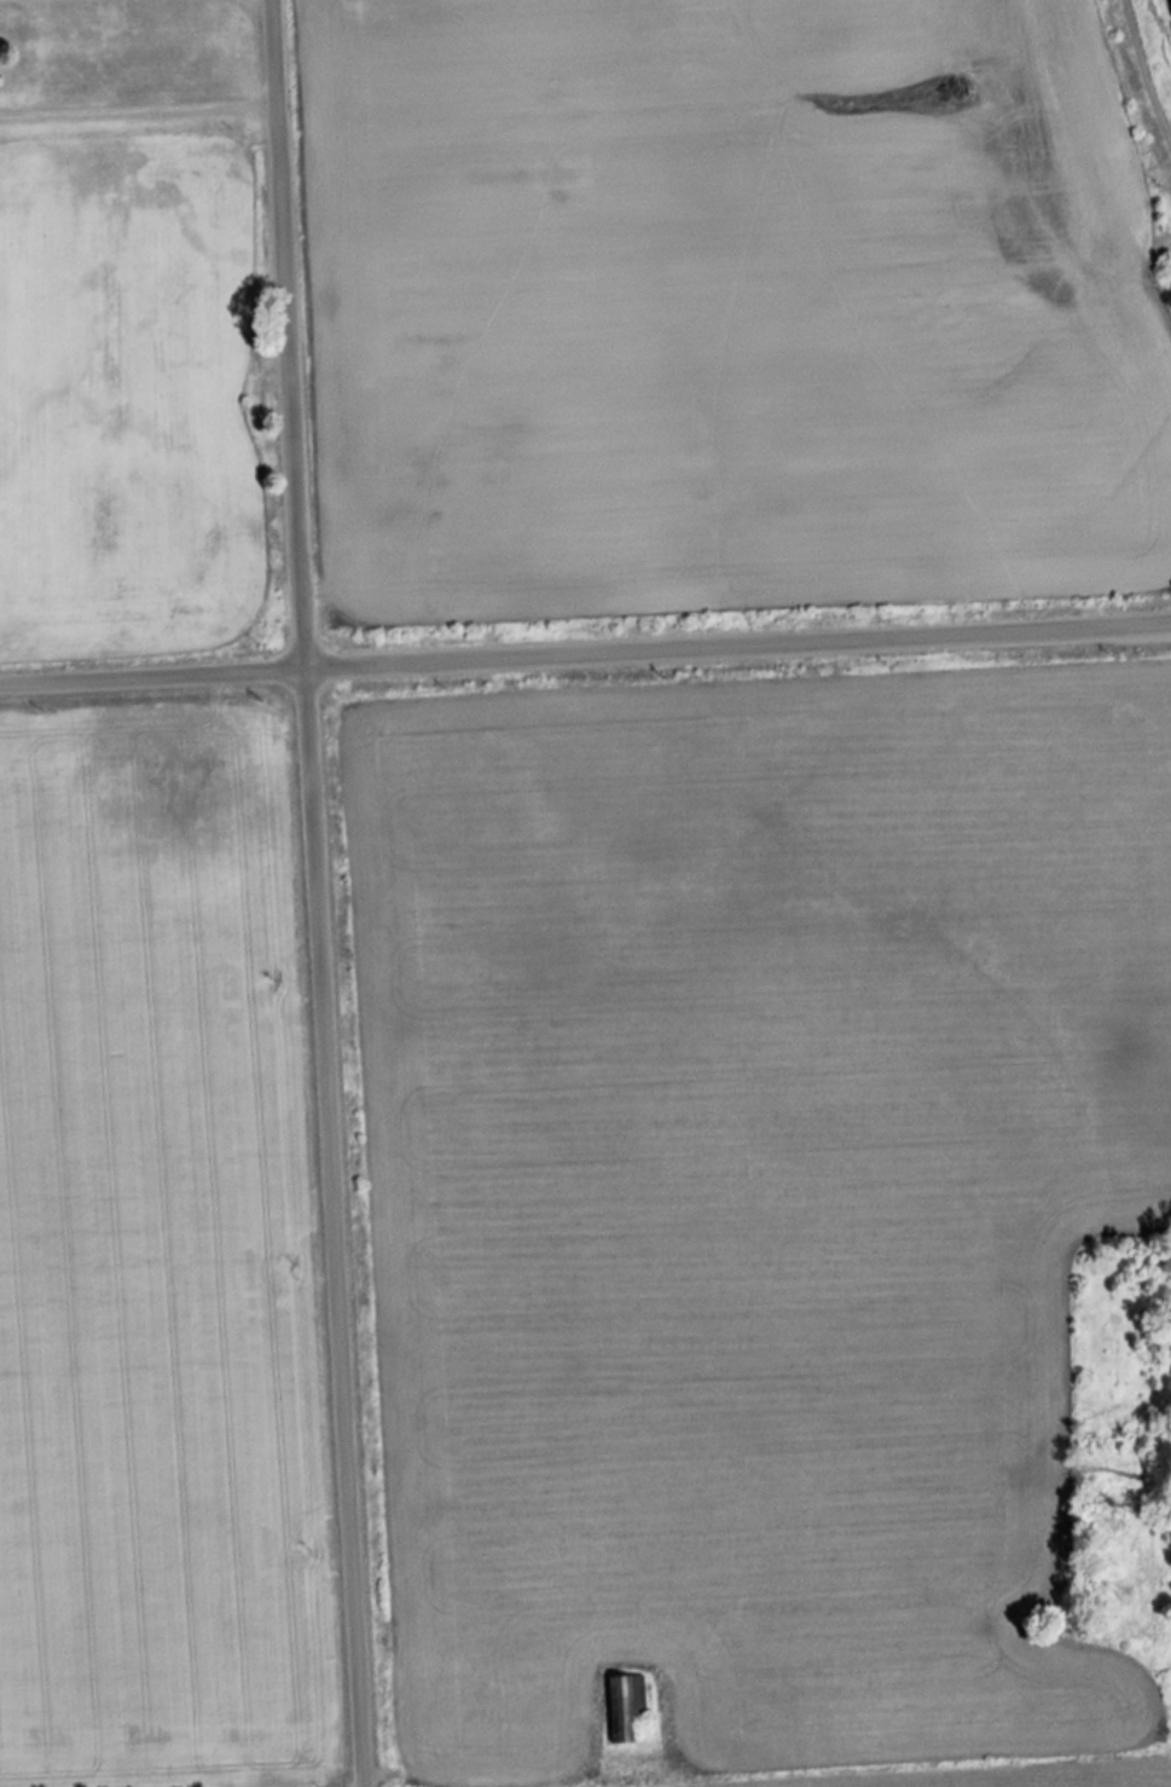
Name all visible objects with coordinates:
road: (585, 659)
road: (315, 892)
crop: (754, 1207)
crop: (153, 1259)
building: (549, 1687)
building: (626, 1706)
building: (477, 1730)

